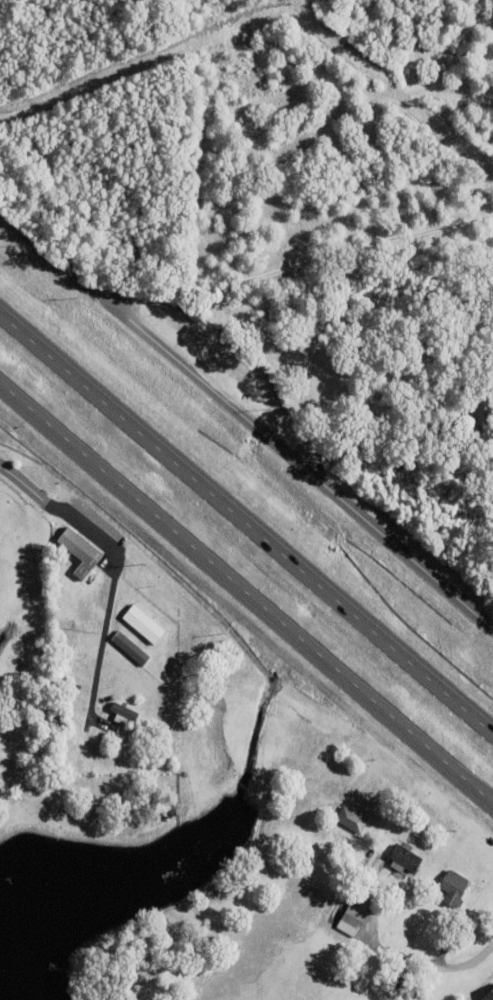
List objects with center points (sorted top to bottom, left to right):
road: (303, 259)
building: (482, 407)
road: (371, 418)
road: (297, 464)
road: (24, 487)
road: (246, 523)
road: (100, 543)
building: (79, 550)
road: (246, 595)
building: (144, 623)
building: (131, 648)
building: (125, 713)
building: (129, 730)
building: (351, 820)
building: (405, 859)
building: (344, 868)
building: (453, 888)
building: (352, 921)
building: (336, 974)
building: (410, 982)
building: (488, 996)

